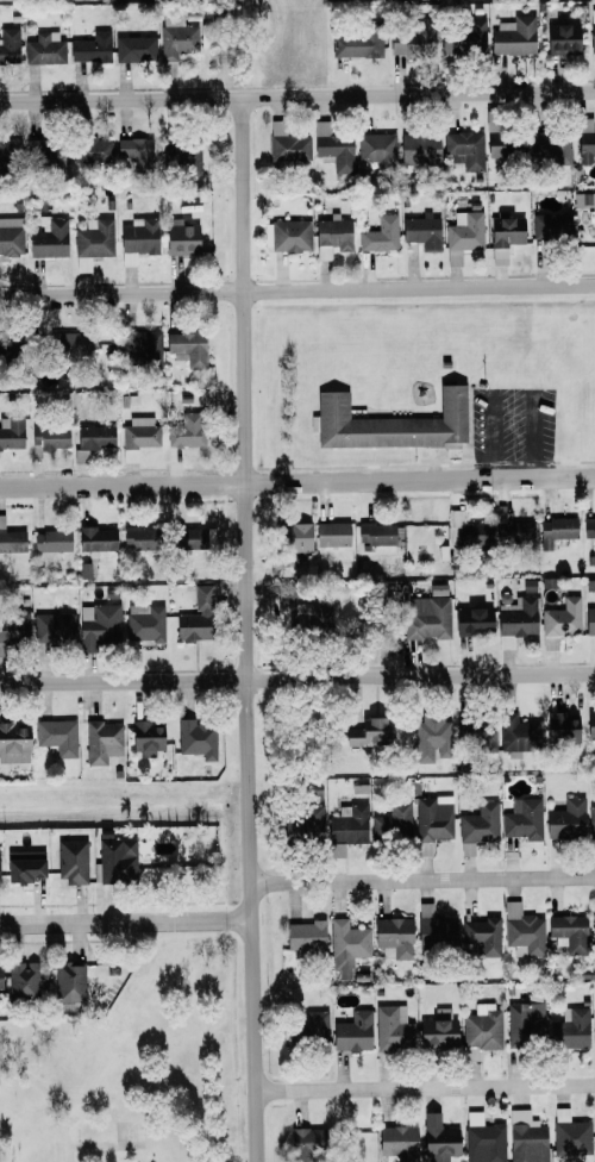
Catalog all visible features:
building: (513, 35)
building: (176, 36)
building: (470, 36)
building: (415, 37)
building: (591, 37)
building: (560, 38)
building: (8, 44)
building: (355, 44)
building: (45, 48)
building: (90, 48)
building: (134, 48)
road: (297, 95)
building: (584, 140)
building: (287, 144)
building: (551, 145)
building: (332, 146)
building: (465, 148)
building: (505, 148)
building: (377, 149)
building: (419, 149)
building: (93, 150)
building: (133, 152)
building: (6, 154)
building: (44, 154)
building: (181, 158)
building: (551, 227)
building: (421, 230)
building: (465, 230)
building: (287, 235)
building: (380, 235)
building: (11, 236)
building: (332, 237)
building: (505, 237)
building: (180, 238)
building: (49, 239)
building: (137, 239)
building: (93, 242)
road: (297, 289)
building: (70, 343)
building: (140, 346)
building: (188, 346)
building: (390, 423)
building: (186, 430)
building: (12, 432)
building: (138, 435)
building: (92, 439)
road: (296, 480)
building: (459, 527)
building: (512, 529)
building: (588, 529)
building: (556, 530)
building: (377, 532)
building: (332, 533)
building: (95, 537)
building: (136, 537)
building: (190, 537)
building: (11, 538)
building: (50, 541)
building: (290, 541)
building: (436, 589)
building: (201, 596)
building: (302, 610)
building: (427, 617)
building: (562, 617)
building: (515, 618)
building: (471, 619)
building: (589, 620)
building: (144, 621)
building: (96, 624)
building: (14, 625)
building: (192, 625)
building: (52, 627)
road: (246, 630)
road: (297, 677)
building: (590, 725)
building: (558, 726)
building: (369, 732)
building: (518, 733)
building: (475, 735)
building: (56, 736)
building: (145, 736)
building: (196, 737)
building: (431, 737)
building: (102, 741)
building: (13, 742)
building: (522, 818)
building: (565, 819)
building: (432, 820)
building: (306, 821)
building: (393, 821)
building: (591, 821)
building: (480, 823)
building: (346, 827)
building: (71, 860)
building: (117, 860)
building: (23, 864)
road: (440, 877)
road: (268, 881)
road: (239, 919)
road: (113, 920)
building: (434, 927)
building: (522, 930)
building: (593, 930)
building: (483, 935)
building: (305, 936)
building: (392, 936)
building: (346, 945)
building: (21, 979)
building: (69, 985)
building: (525, 1018)
building: (393, 1029)
building: (438, 1029)
building: (570, 1029)
building: (594, 1029)
building: (481, 1030)
building: (352, 1031)
park: (129, 1069)
road: (1, 1076)
road: (425, 1086)
road: (54, 1100)
park: (130, 1133)
building: (570, 1135)
building: (526, 1137)
building: (396, 1139)
building: (483, 1139)
building: (438, 1141)
building: (302, 1142)
road: (92, 1143)

